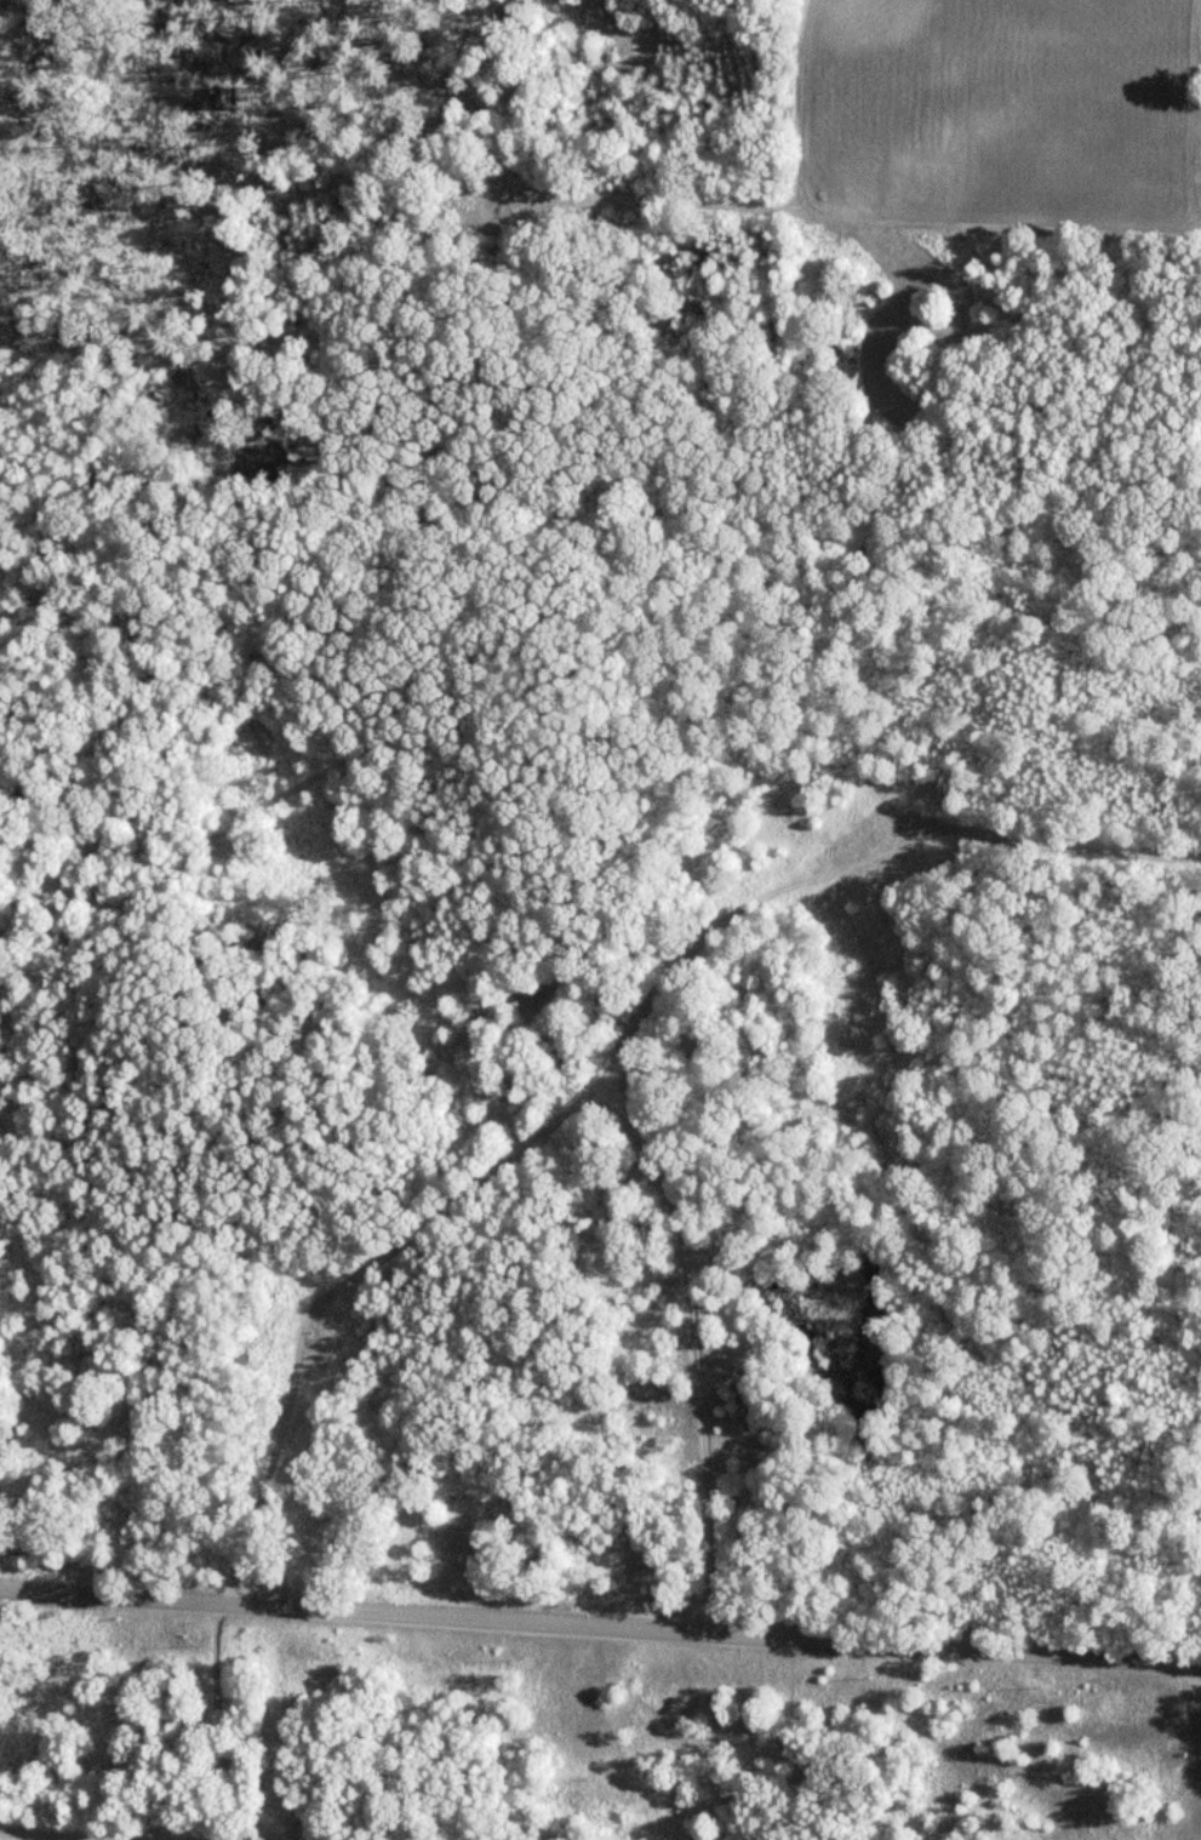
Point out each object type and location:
road: (385, 319)
road: (704, 973)
road: (341, 1313)
road: (713, 1354)
road: (600, 1627)
road: (205, 1722)

